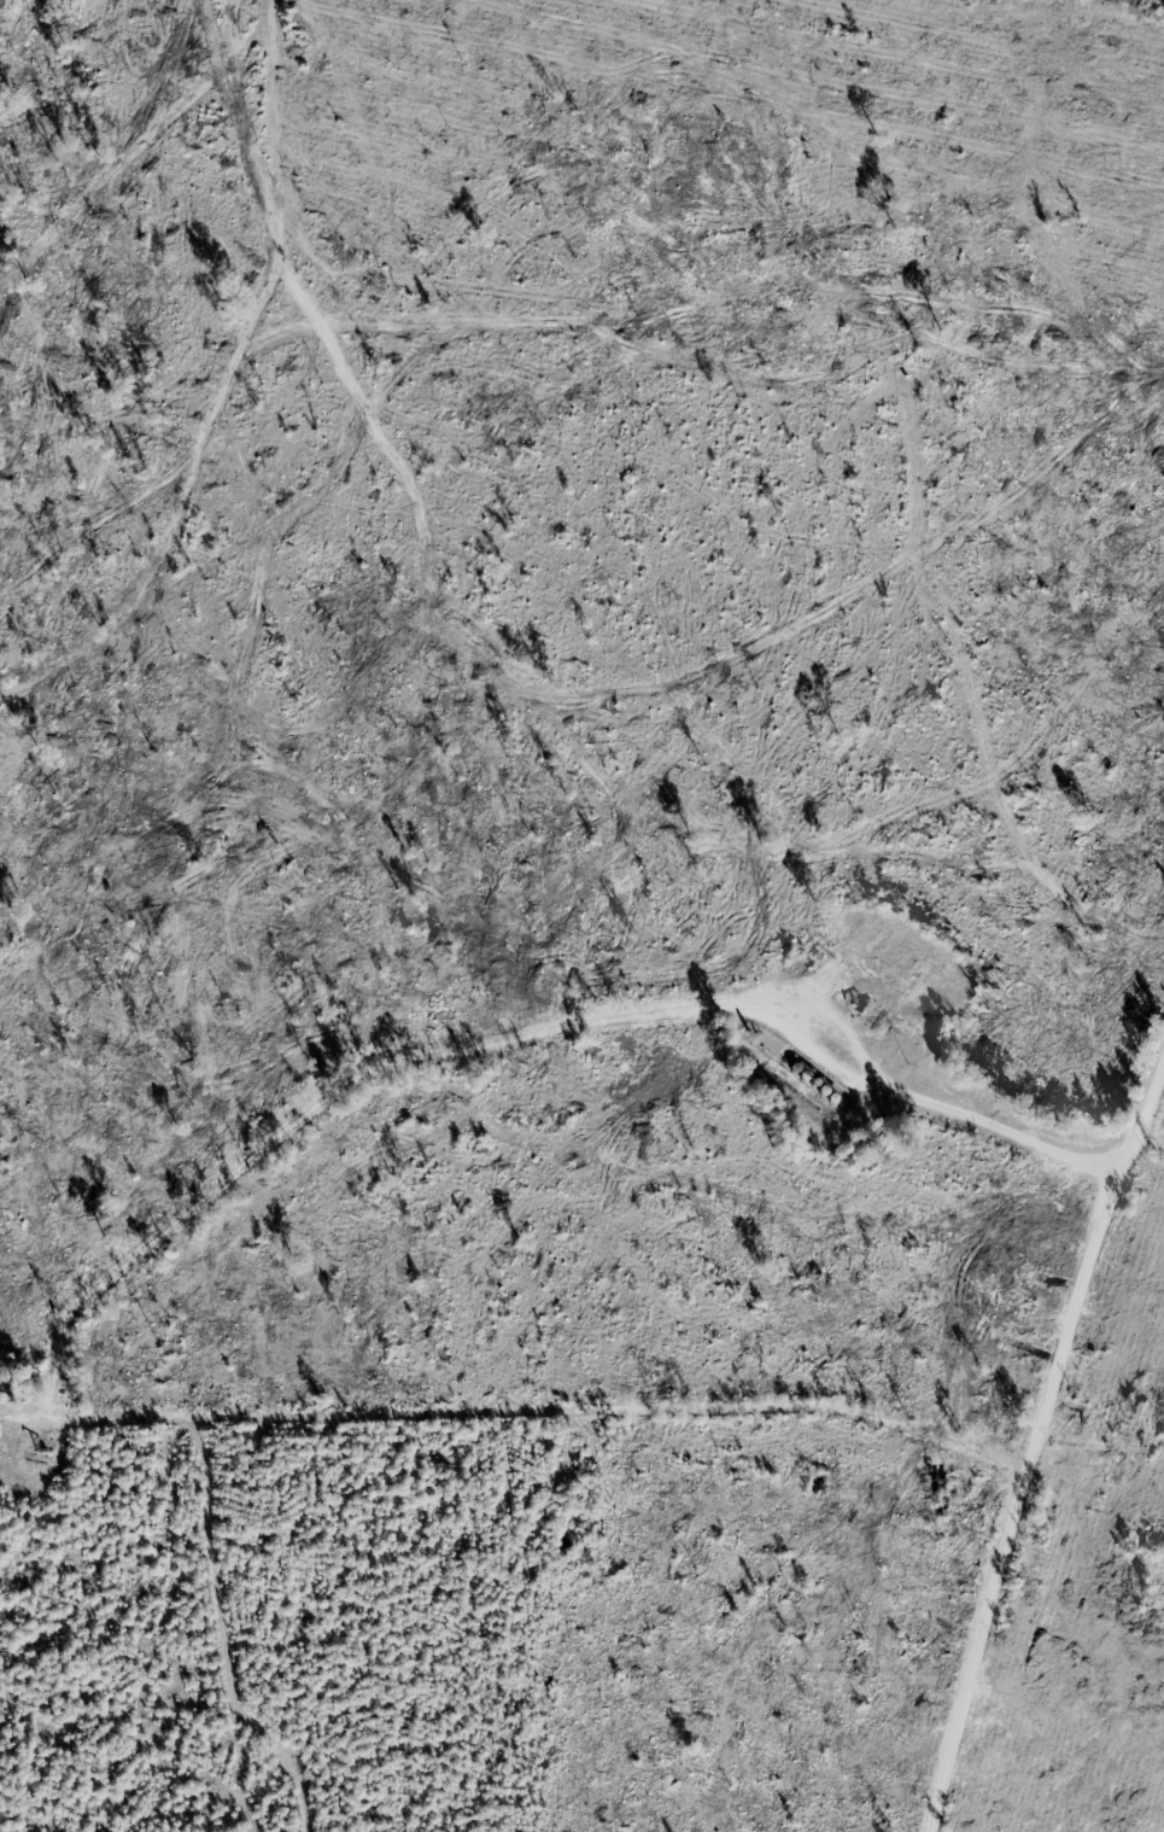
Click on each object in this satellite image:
road: (1043, 1436)

